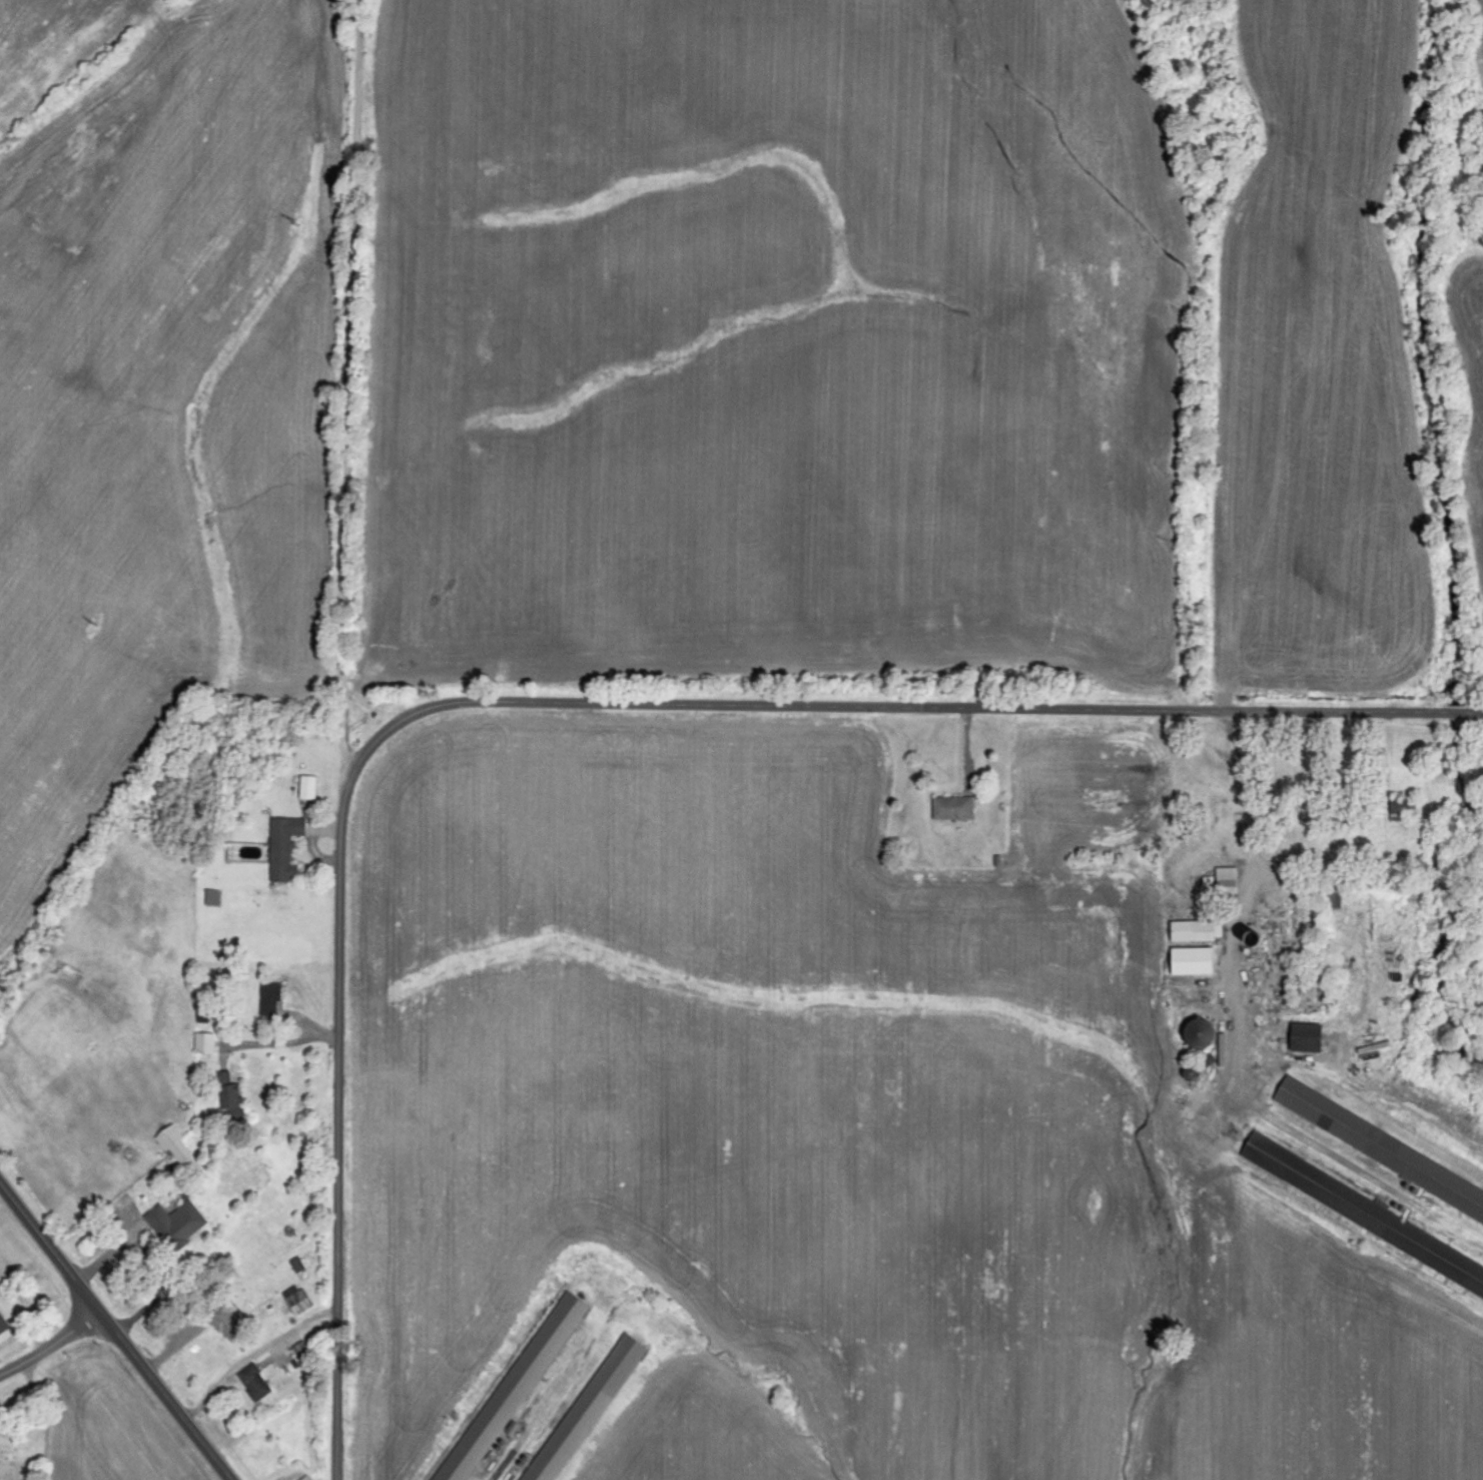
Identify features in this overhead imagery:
road: (350, 403)
road: (551, 697)
building: (310, 788)
building: (955, 809)
building: (287, 848)
building: (1229, 881)
building: (215, 899)
building: (1199, 932)
building: (1195, 962)
building: (1202, 1035)
building: (1309, 1039)
building: (207, 1044)
building: (233, 1097)
building: (1380, 1149)
building: (181, 1150)
building: (1356, 1208)
building: (179, 1225)
road: (53, 1246)
building: (301, 1303)
building: (229, 1325)
building: (5, 1330)
road: (53, 1346)
building: (256, 1384)
road: (171, 1397)
building: (586, 1408)
building: (309, 1478)

